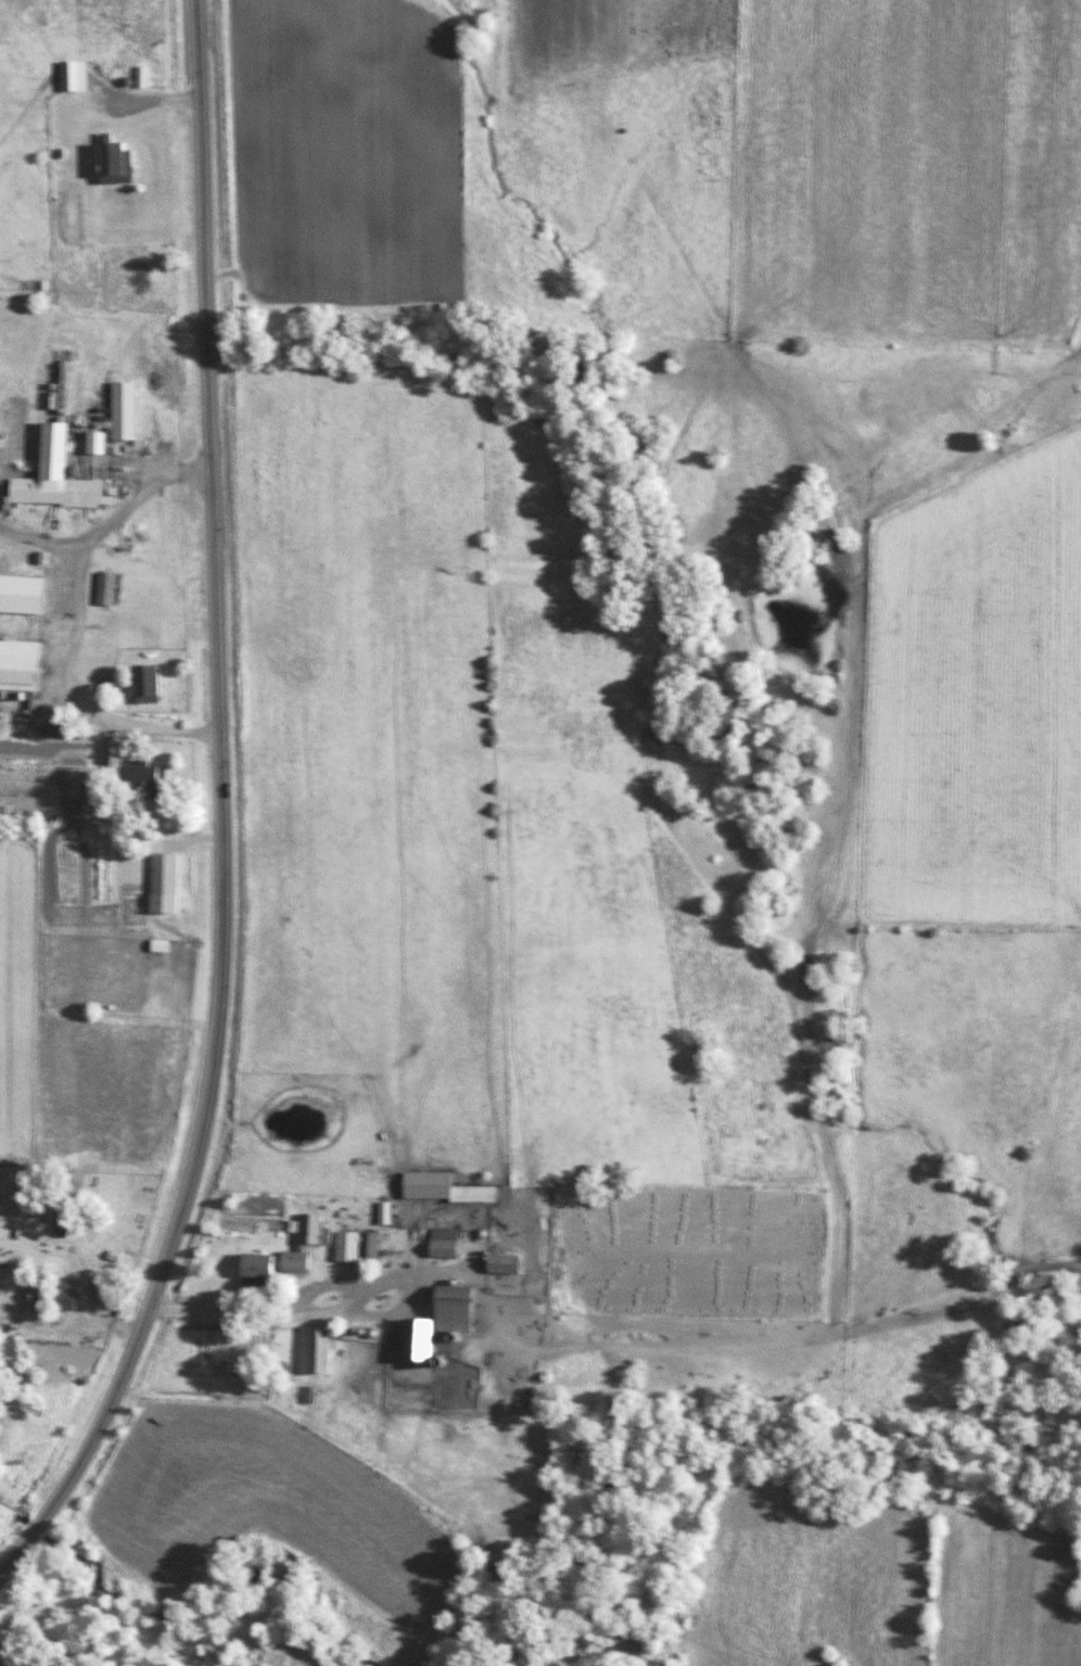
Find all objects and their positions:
building: (80, 77)
building: (124, 163)
building: (130, 410)
road: (16, 454)
building: (72, 491)
road: (109, 518)
building: (114, 588)
building: (59, 614)
building: (26, 663)
road: (764, 674)
building: (147, 682)
road: (80, 692)
building: (119, 752)
building: (154, 781)
road: (224, 813)
road: (823, 1141)
building: (450, 1188)
building: (69, 1219)
building: (452, 1243)
building: (365, 1246)
building: (514, 1264)
building: (278, 1267)
building: (62, 1295)
road: (361, 1318)
building: (452, 1319)
road: (69, 1328)
building: (320, 1349)

